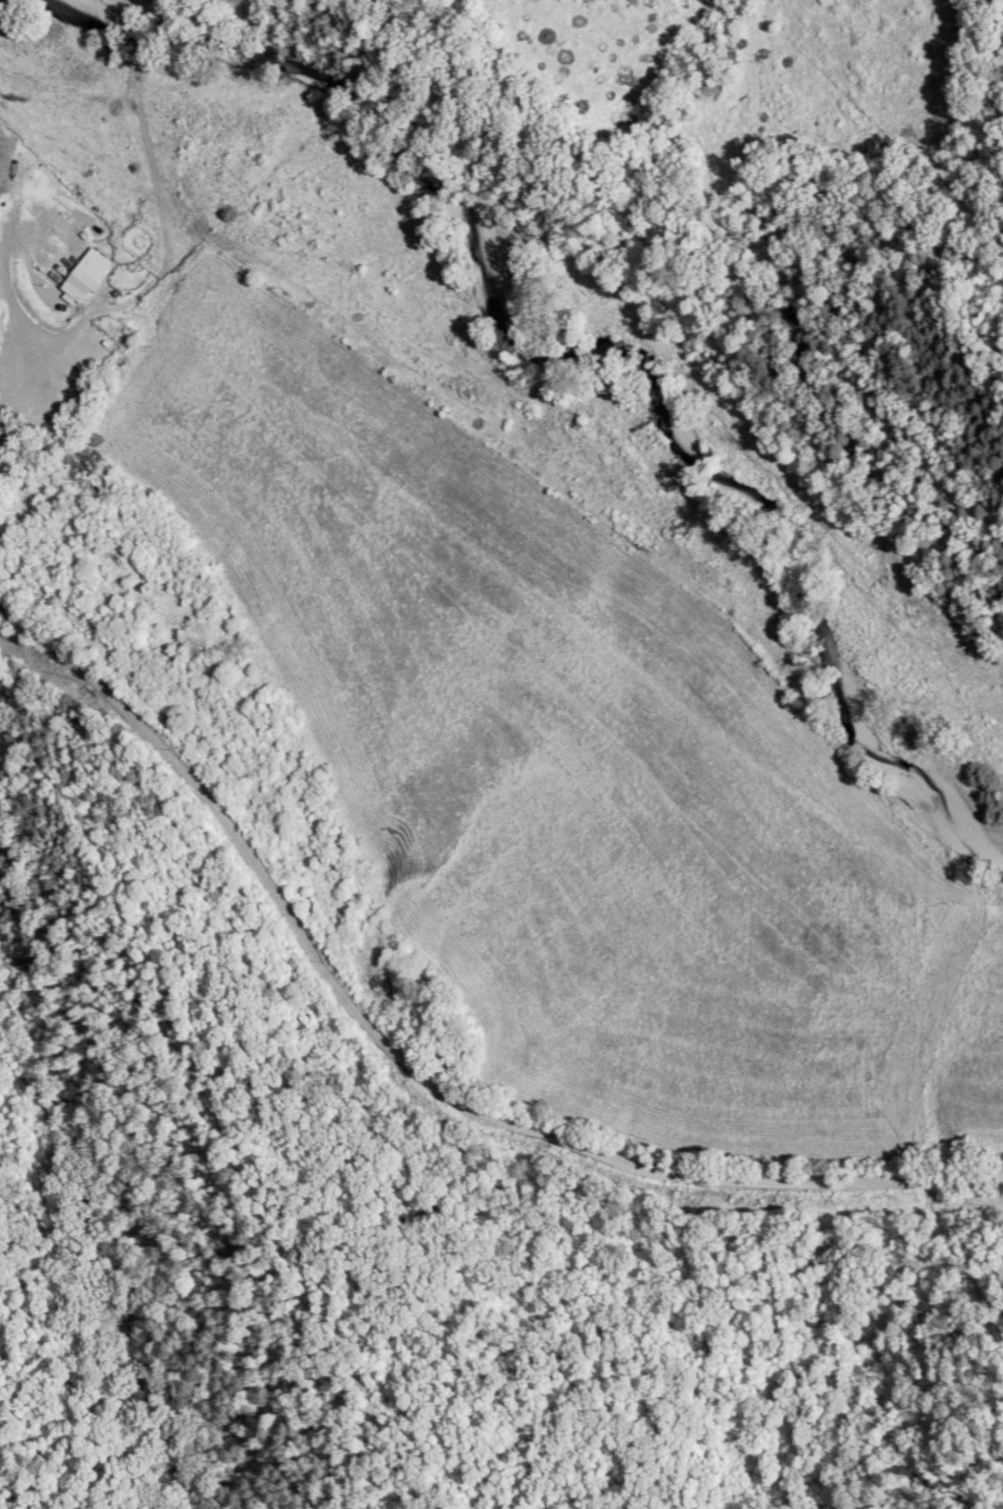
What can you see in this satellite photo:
building: (83, 277)
road: (410, 1037)
road: (1000, 1500)

